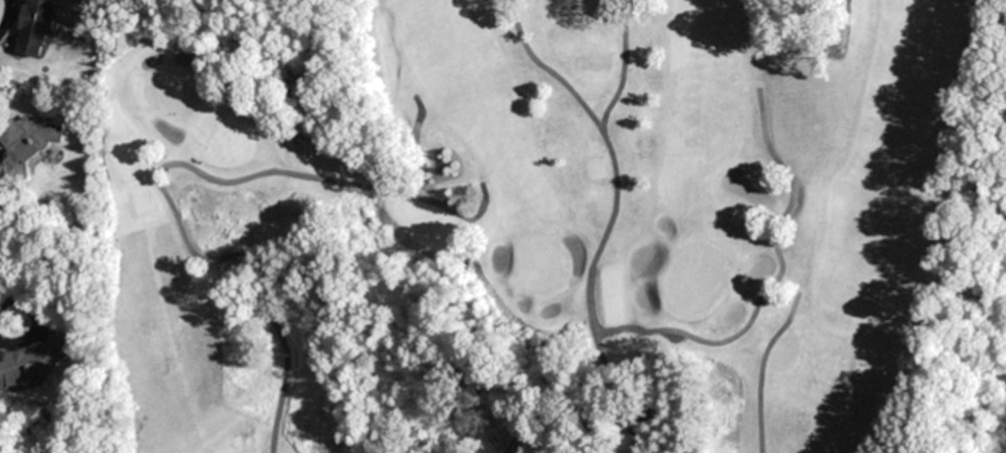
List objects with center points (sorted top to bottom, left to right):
building: (33, 27)
road: (622, 68)
building: (26, 143)
road: (158, 173)
road: (611, 216)
park: (542, 226)
road: (778, 287)
building: (32, 363)
road: (761, 369)

